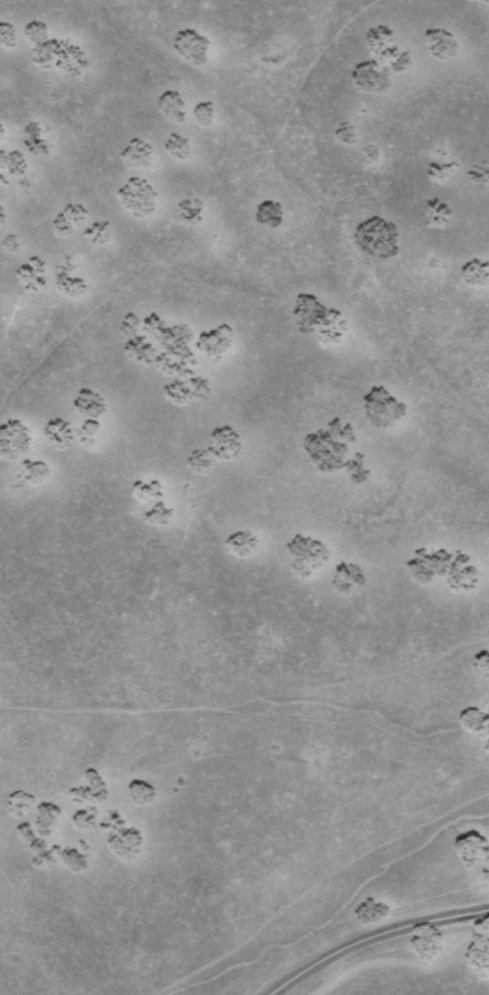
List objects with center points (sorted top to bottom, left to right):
road: (376, 940)

